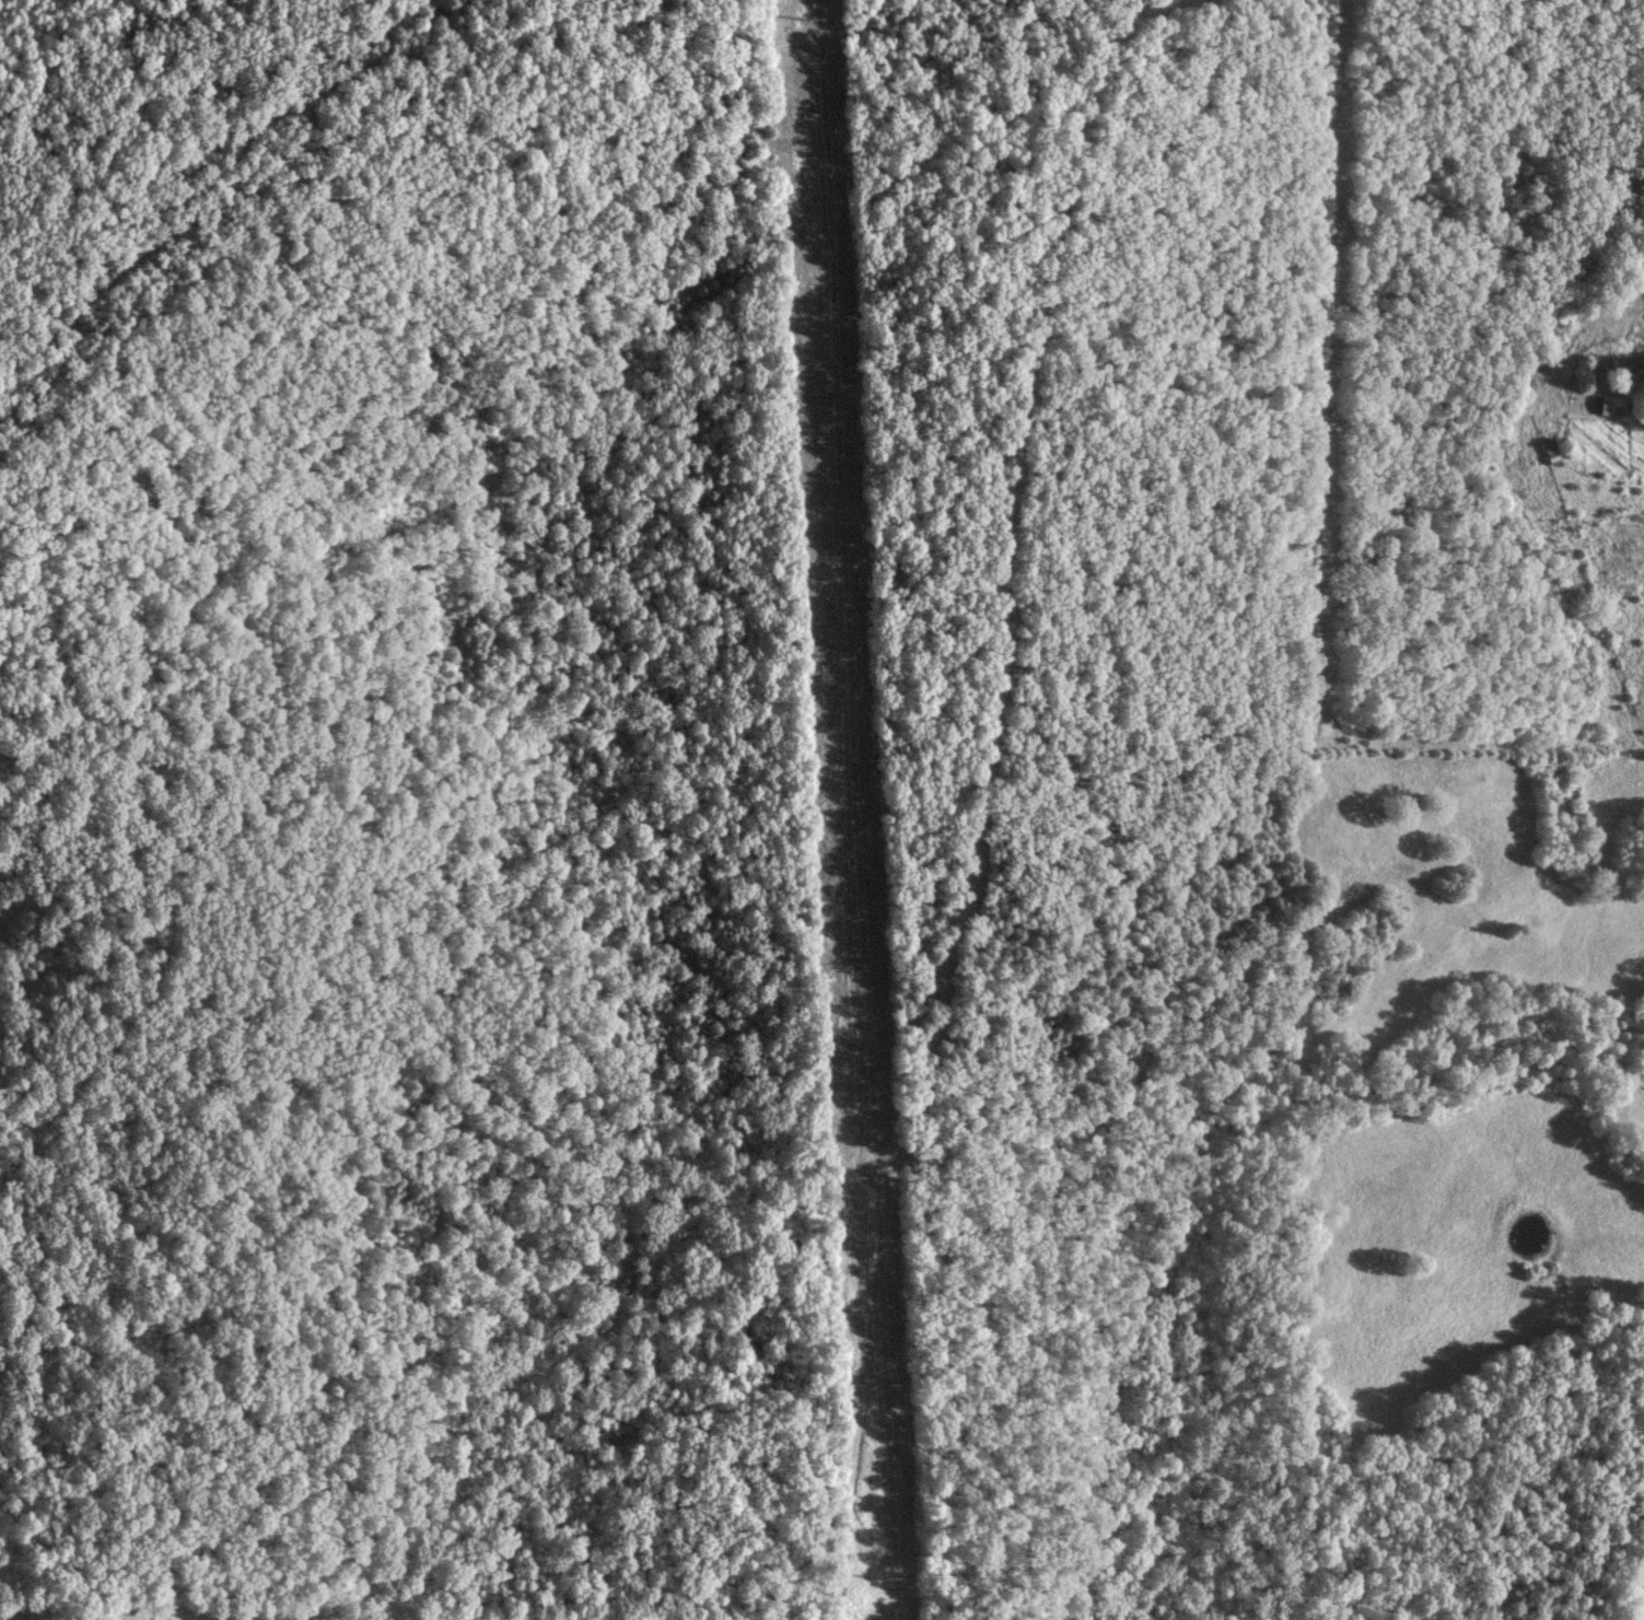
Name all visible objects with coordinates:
building: (1608, 406)

